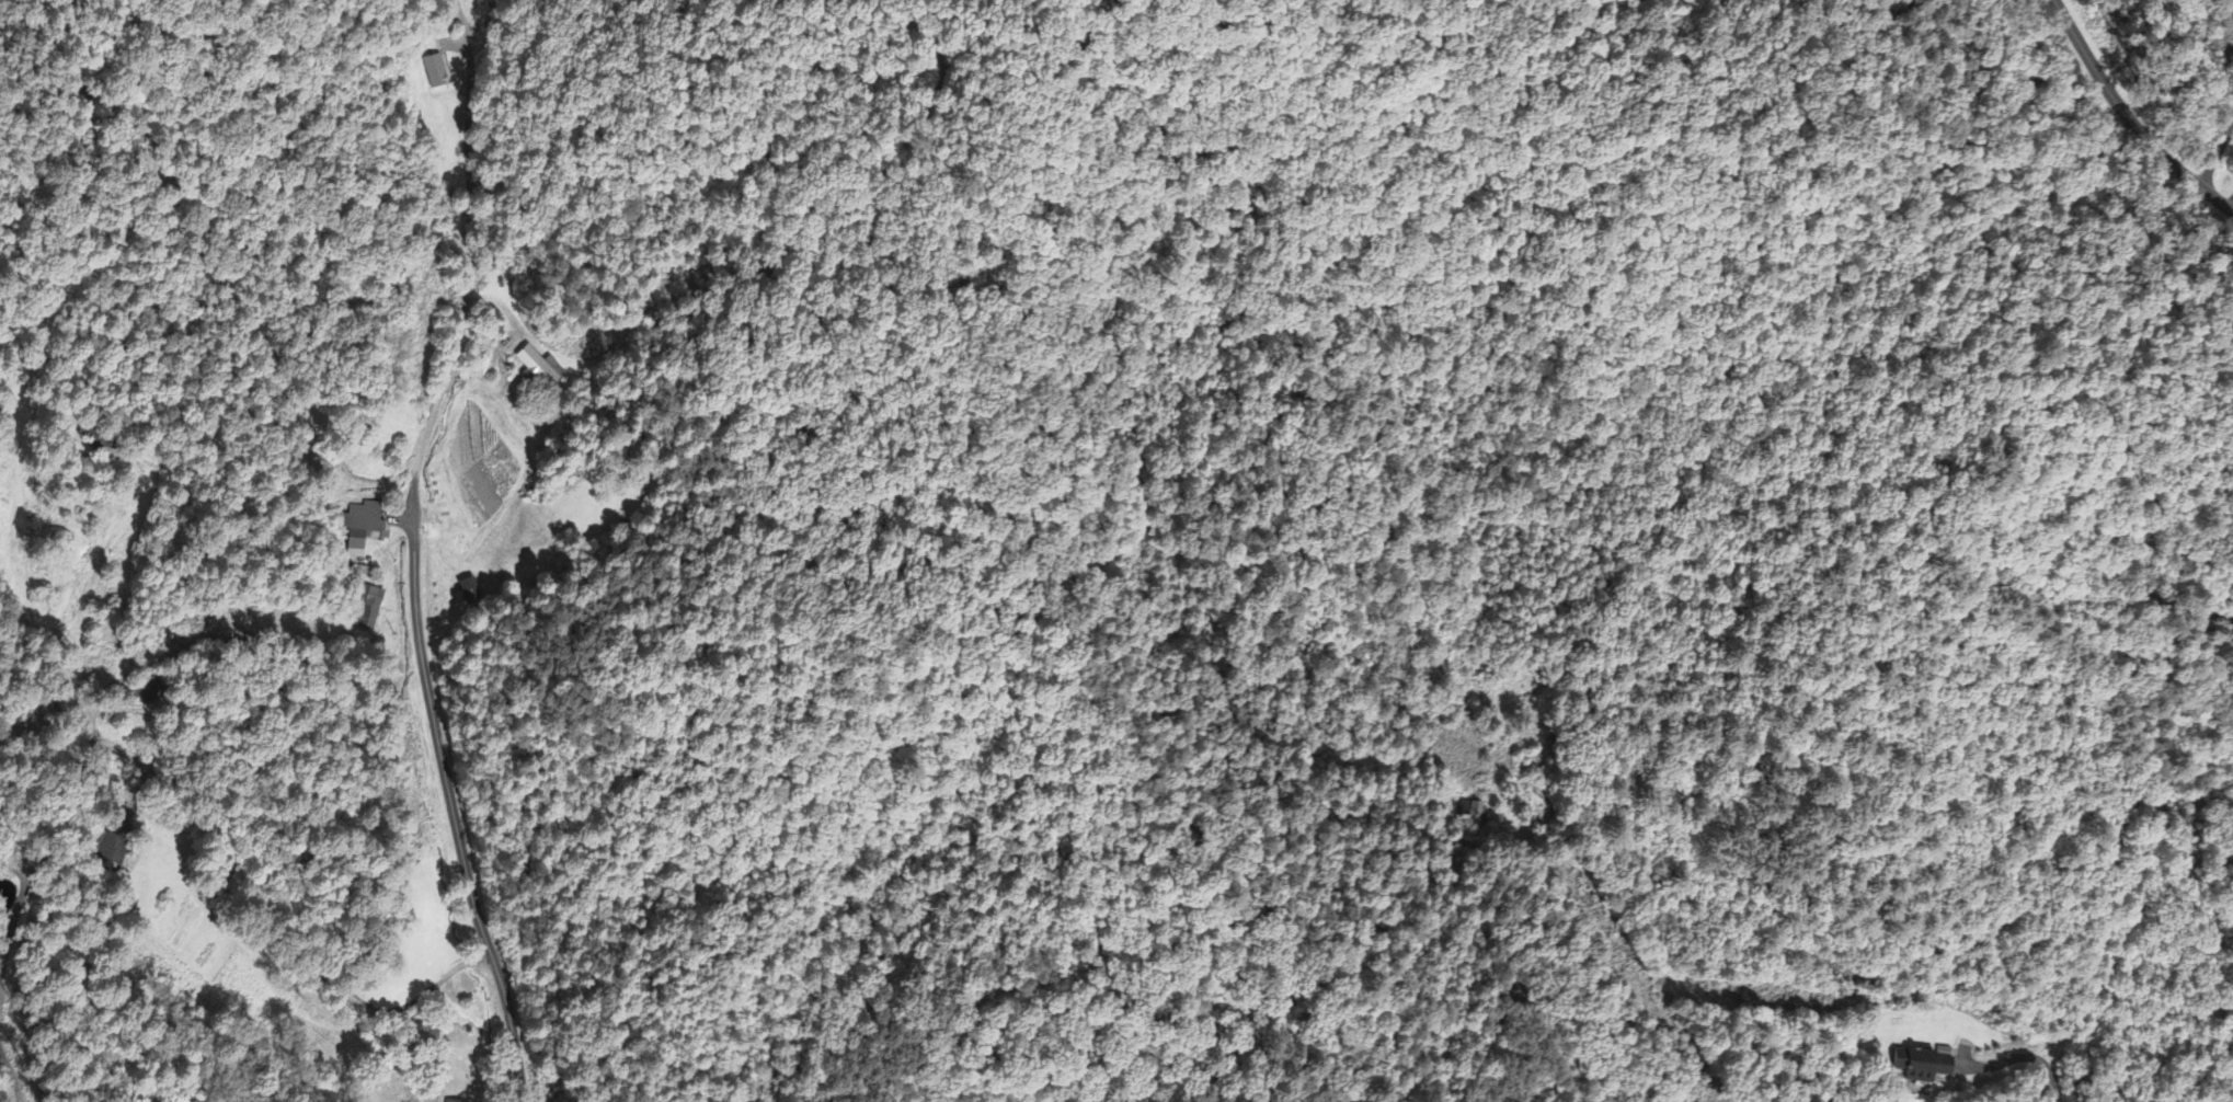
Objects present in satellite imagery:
building: (437, 74)
road: (2157, 81)
building: (539, 369)
road: (414, 552)
building: (471, 593)
building: (368, 607)
road: (72, 692)
road: (279, 921)
road: (2032, 1059)
building: (1927, 1069)

